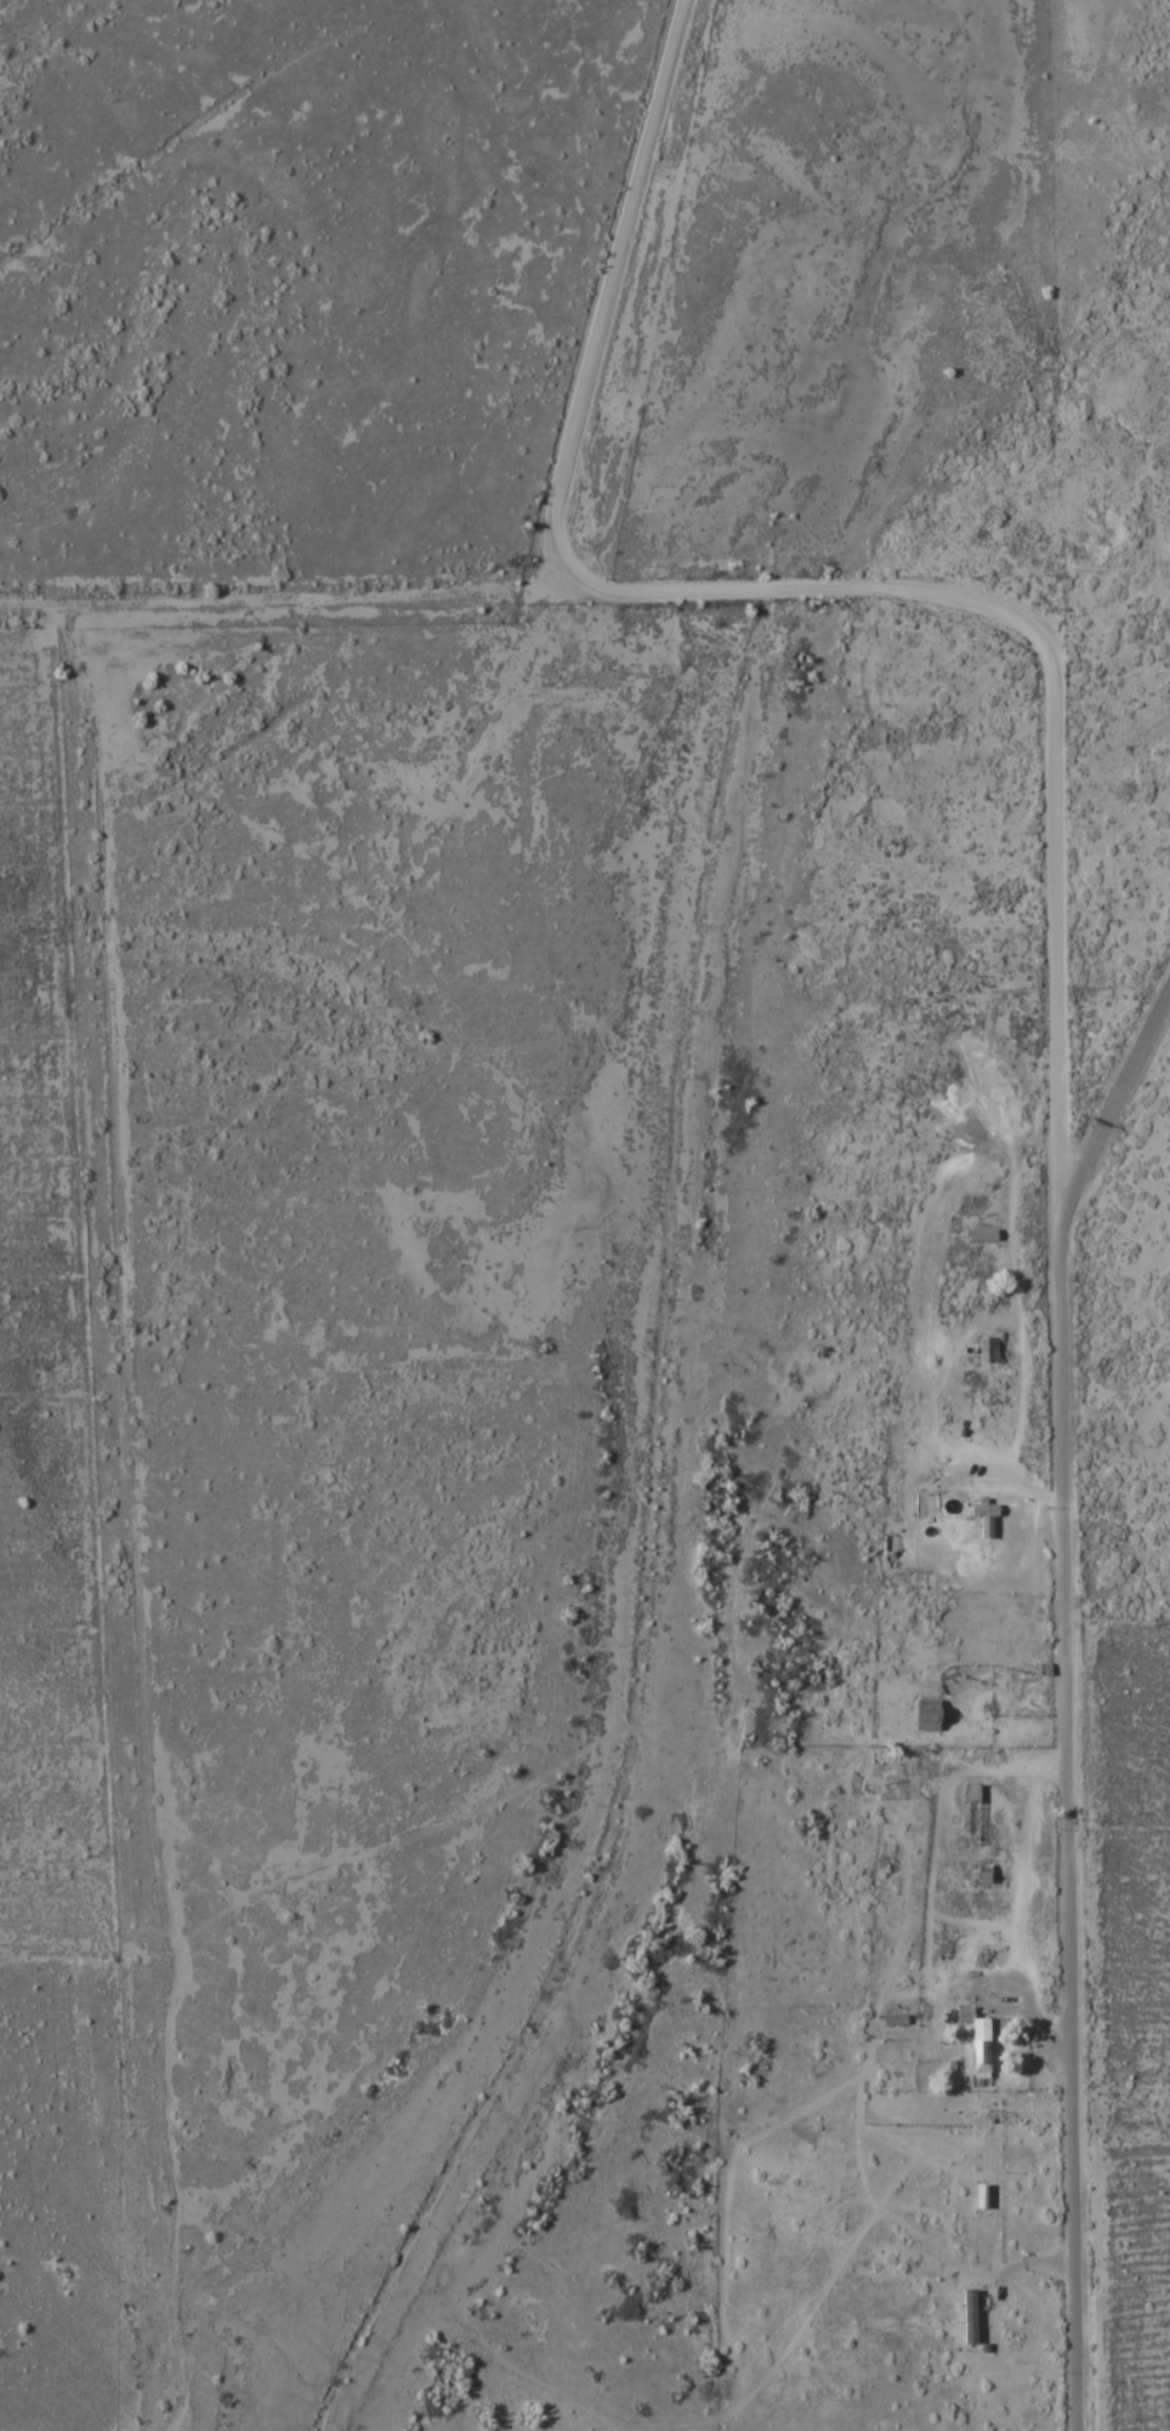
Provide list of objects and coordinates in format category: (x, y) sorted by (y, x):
road: (606, 314)
road: (830, 586)
building: (982, 1233)
building: (989, 1350)
building: (986, 1517)
road: (1064, 1694)
building: (930, 1716)
building: (984, 1874)
building: (981, 2040)

